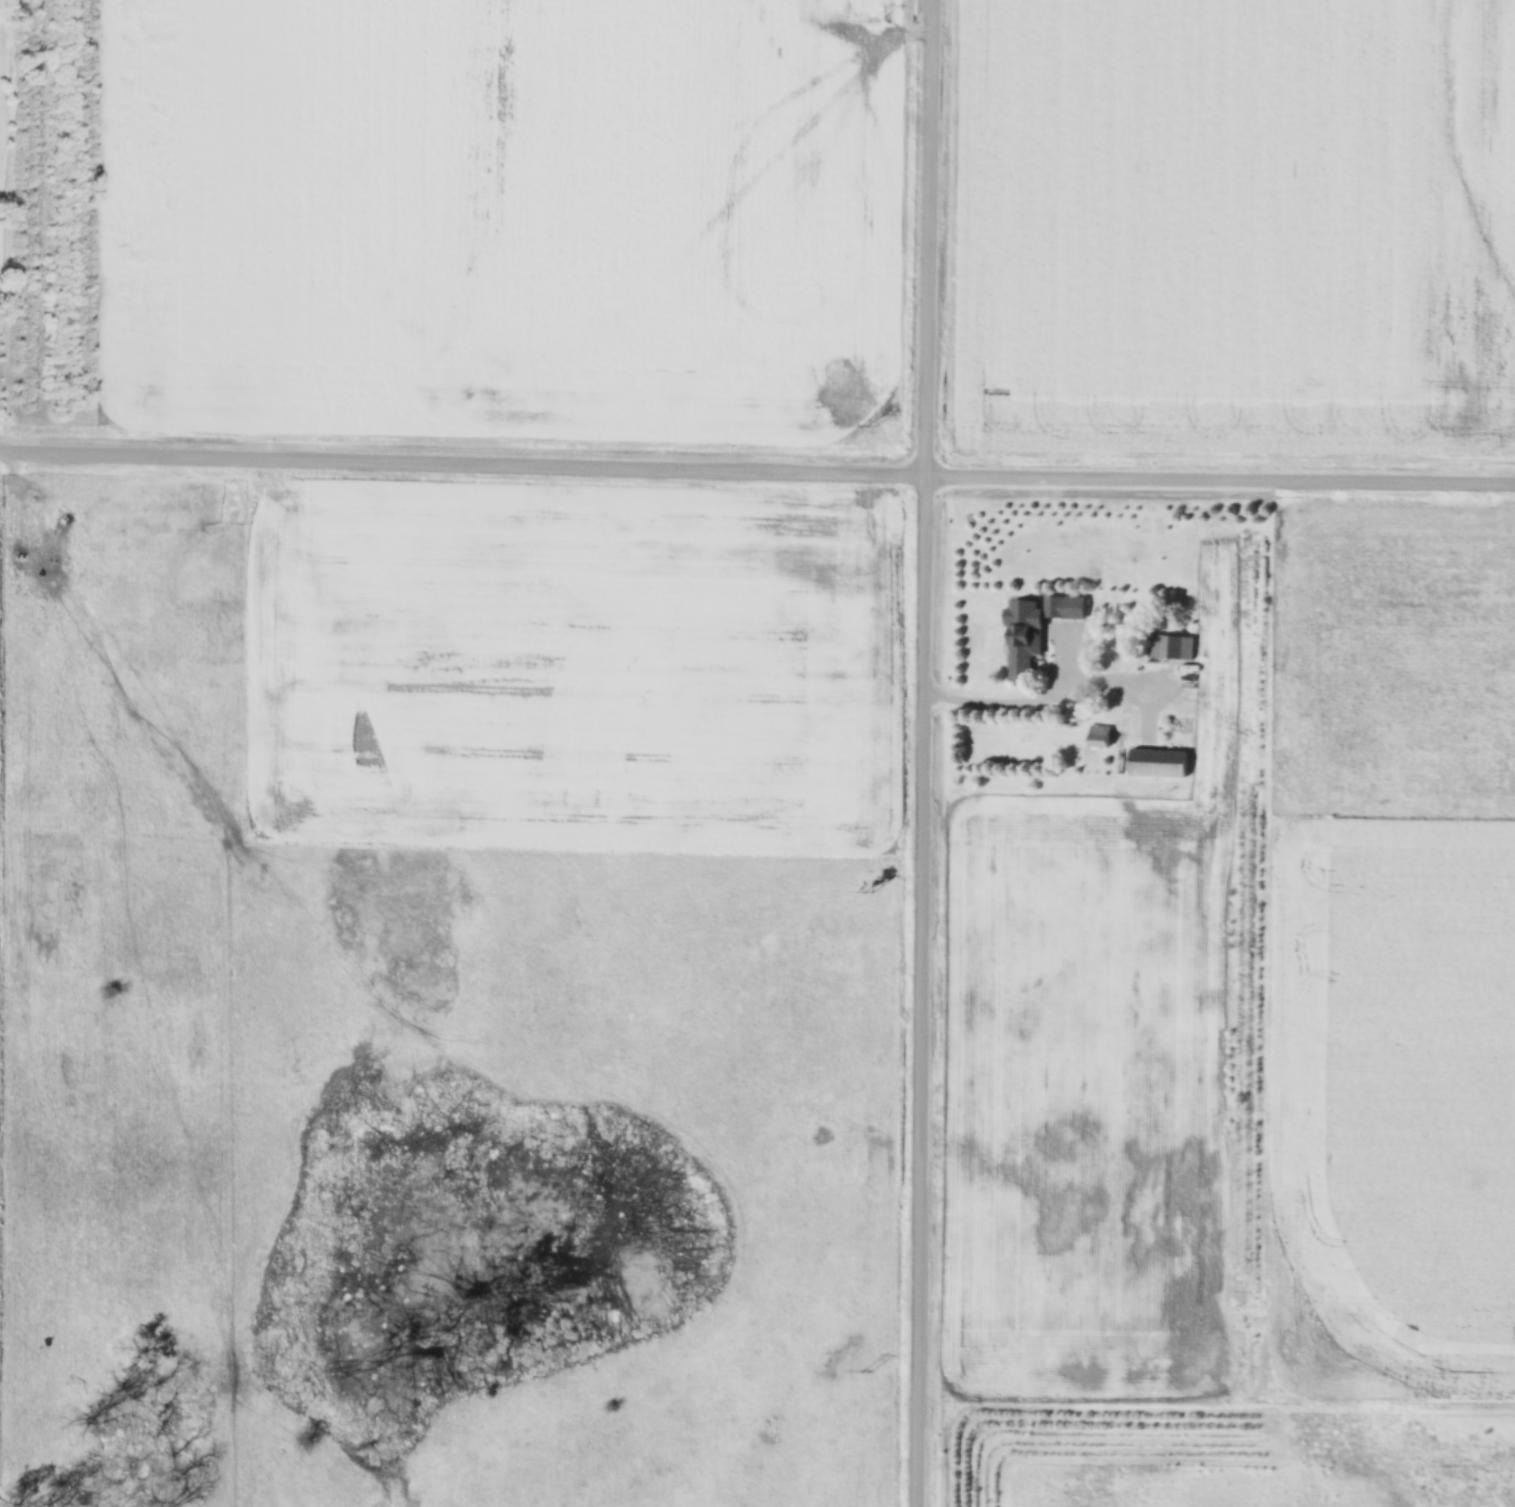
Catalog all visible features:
power tower: (874, 23)
power tower: (871, 426)
road: (757, 472)
building: (1170, 647)
building: (1021, 653)
building: (1100, 737)
road: (918, 753)
building: (1157, 763)
power tower: (868, 892)
power tower: (866, 1371)

